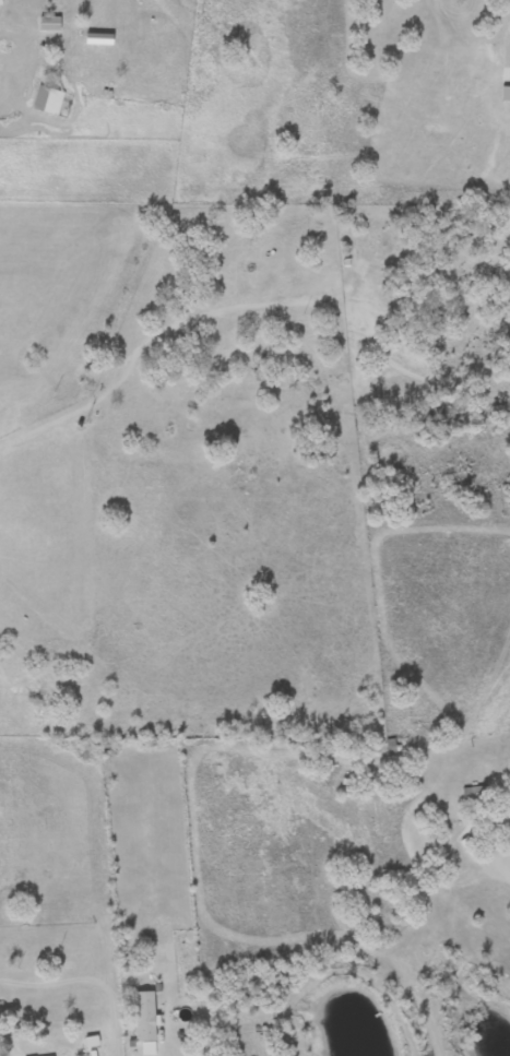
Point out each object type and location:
building: (49, 24)
building: (48, 100)
building: (474, 794)
building: (502, 824)
road: (503, 867)
building: (144, 1021)

